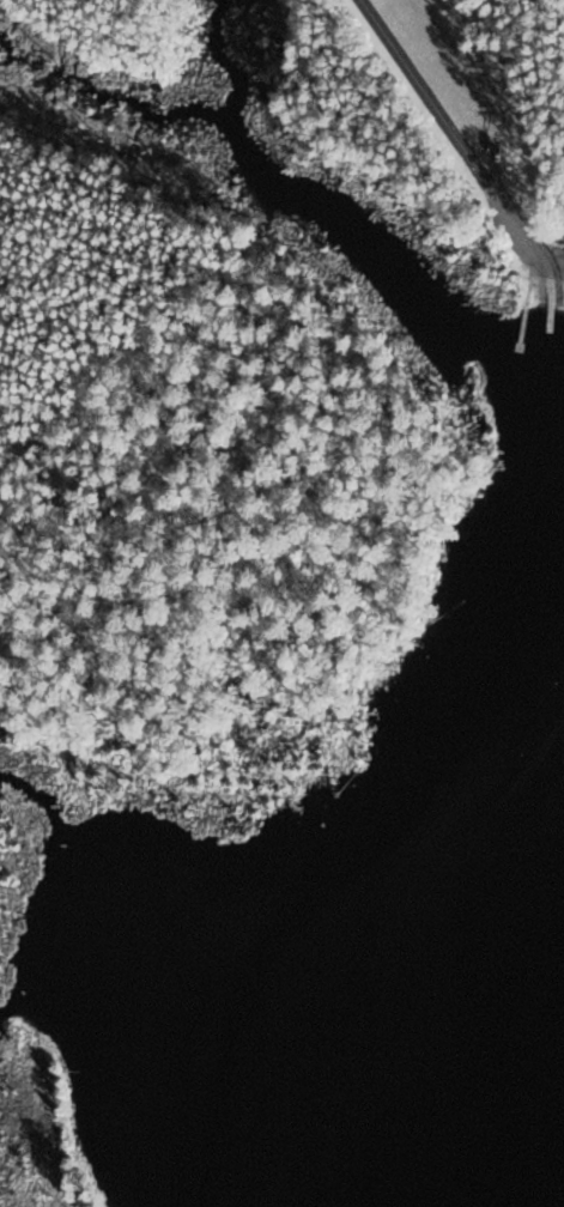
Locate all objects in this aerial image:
parking lot: (445, 69)
road: (477, 77)
road: (455, 129)
road: (548, 260)

